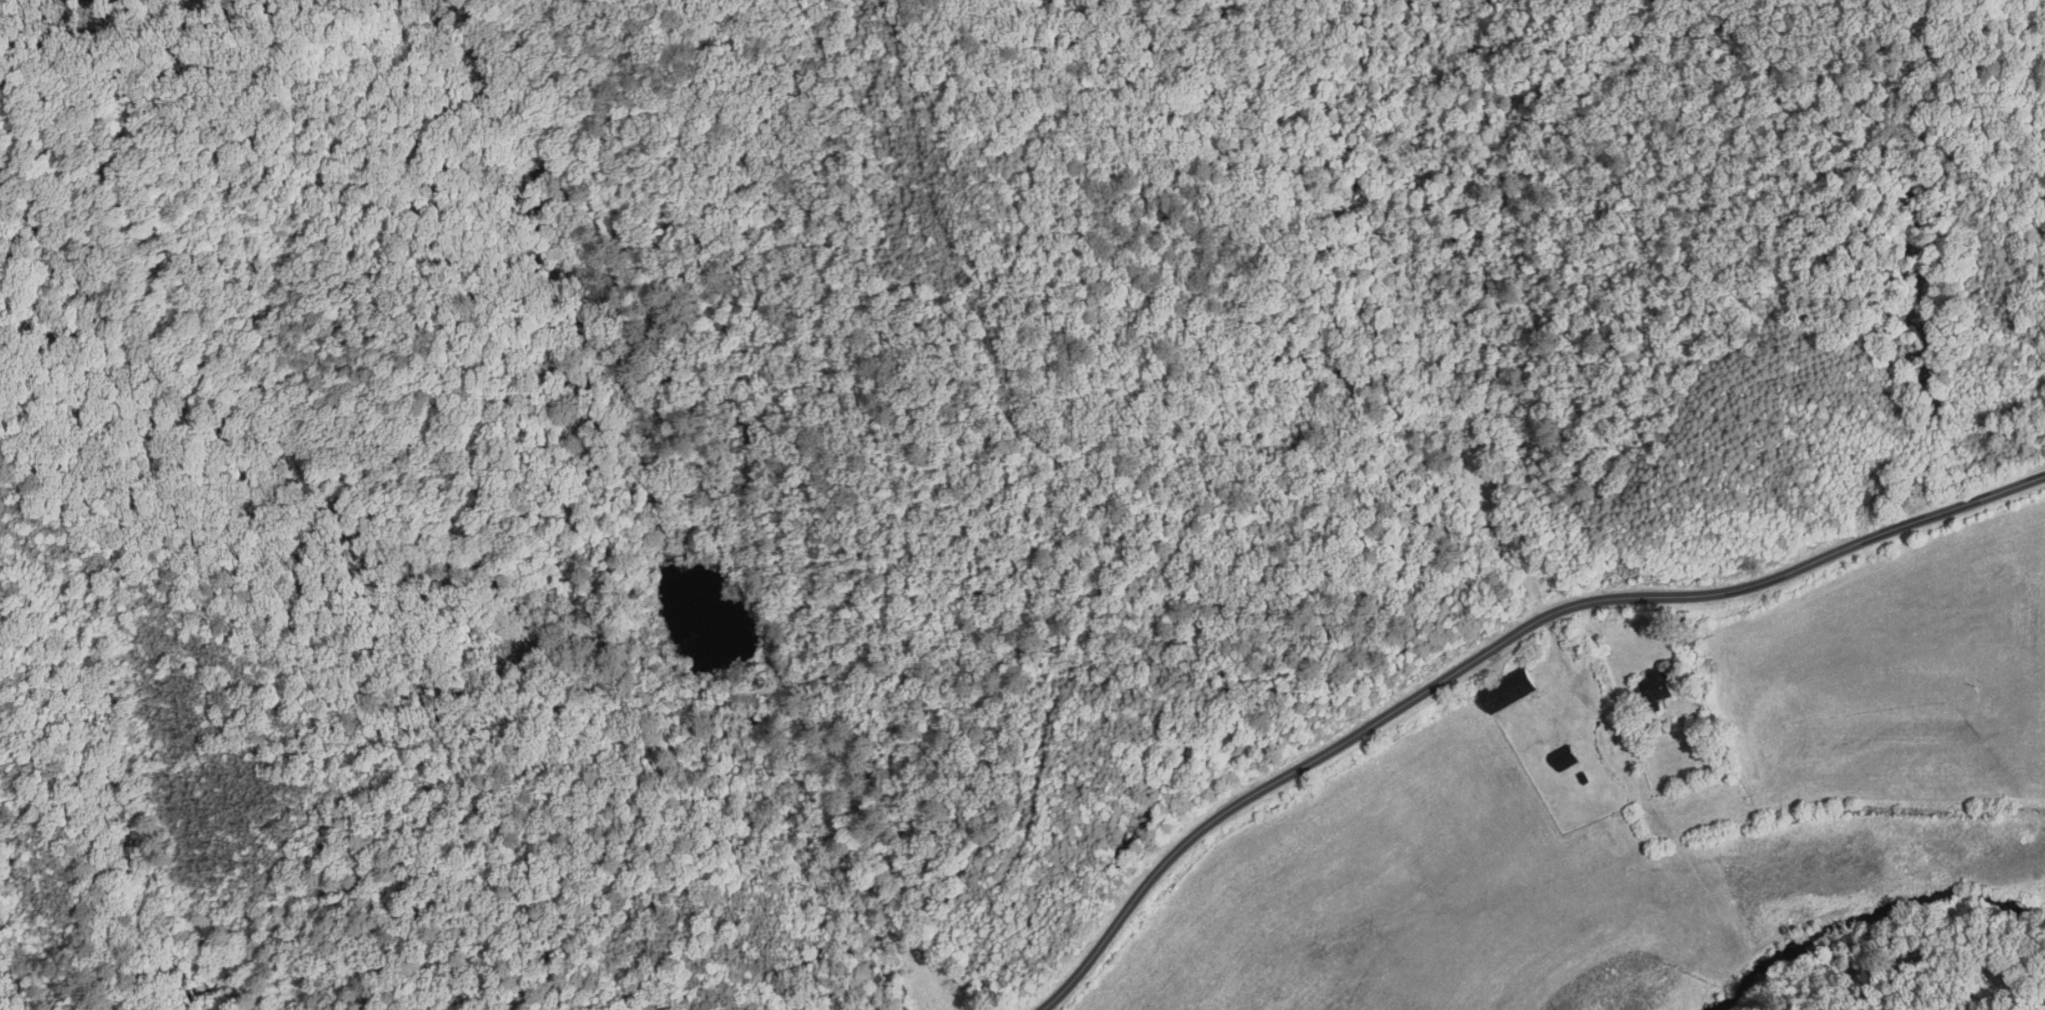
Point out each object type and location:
road: (1512, 318)
road: (1491, 647)
building: (1653, 687)
building: (1508, 697)
building: (1562, 759)
building: (876, 982)

